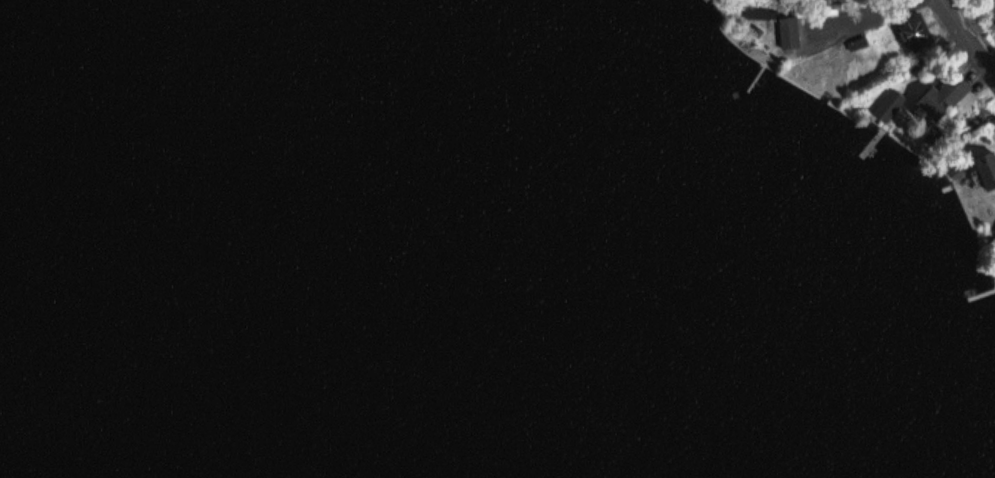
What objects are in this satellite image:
building: (763, 10)
road: (861, 11)
building: (791, 30)
building: (917, 32)
road: (970, 35)
building: (943, 98)
building: (887, 110)
building: (987, 167)

